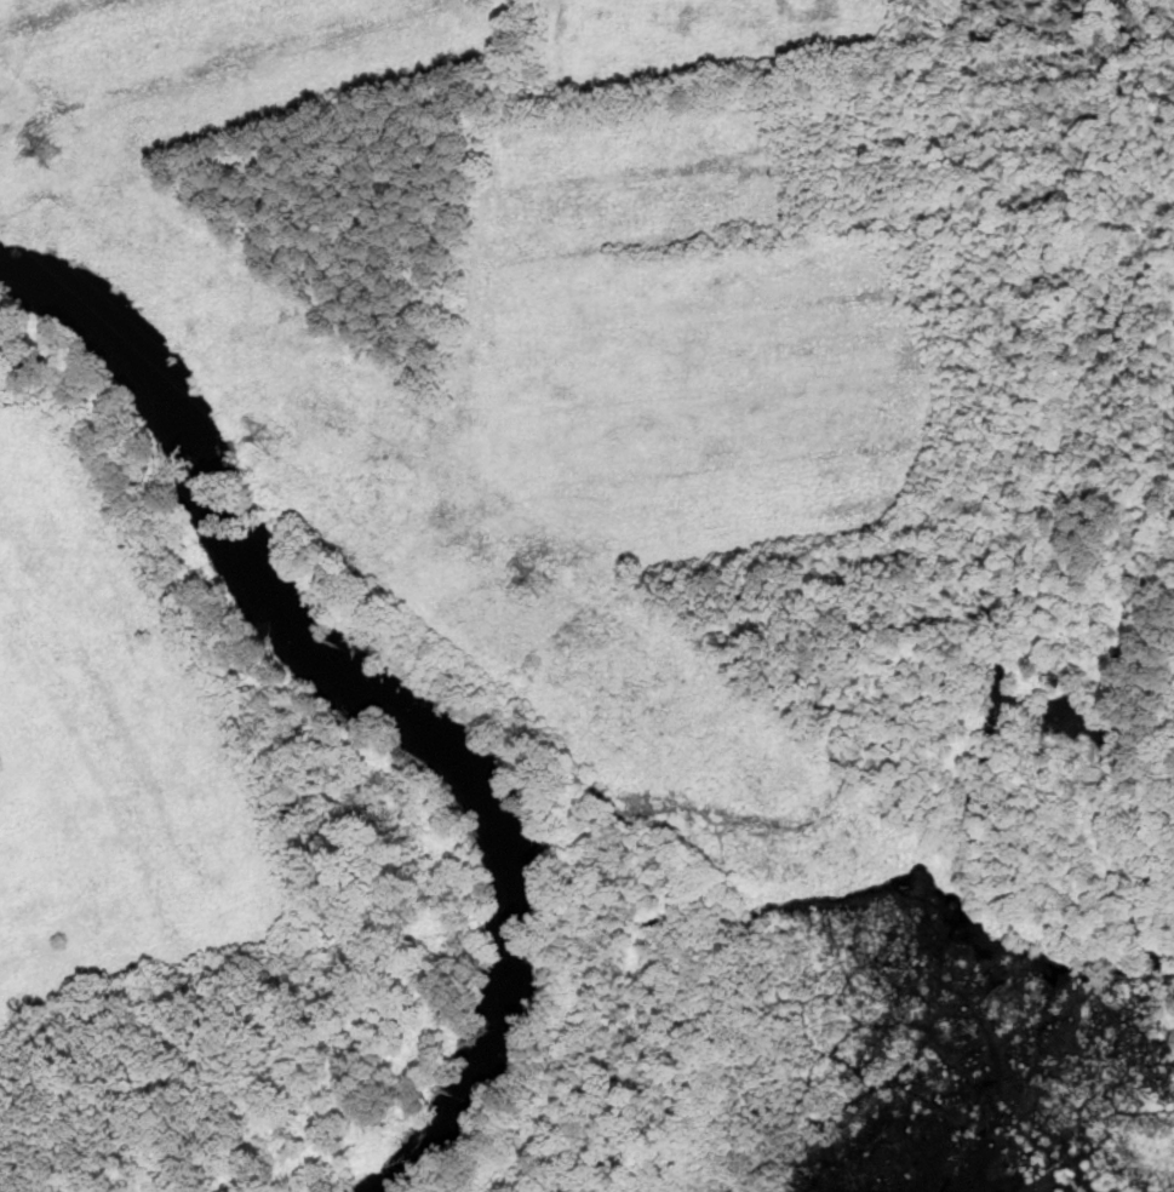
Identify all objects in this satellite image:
power tower: (48, 151)
power tower: (263, 441)
power tower: (539, 581)
road: (417, 635)
river: (377, 690)
power tower: (875, 973)
power tower: (1010, 997)

